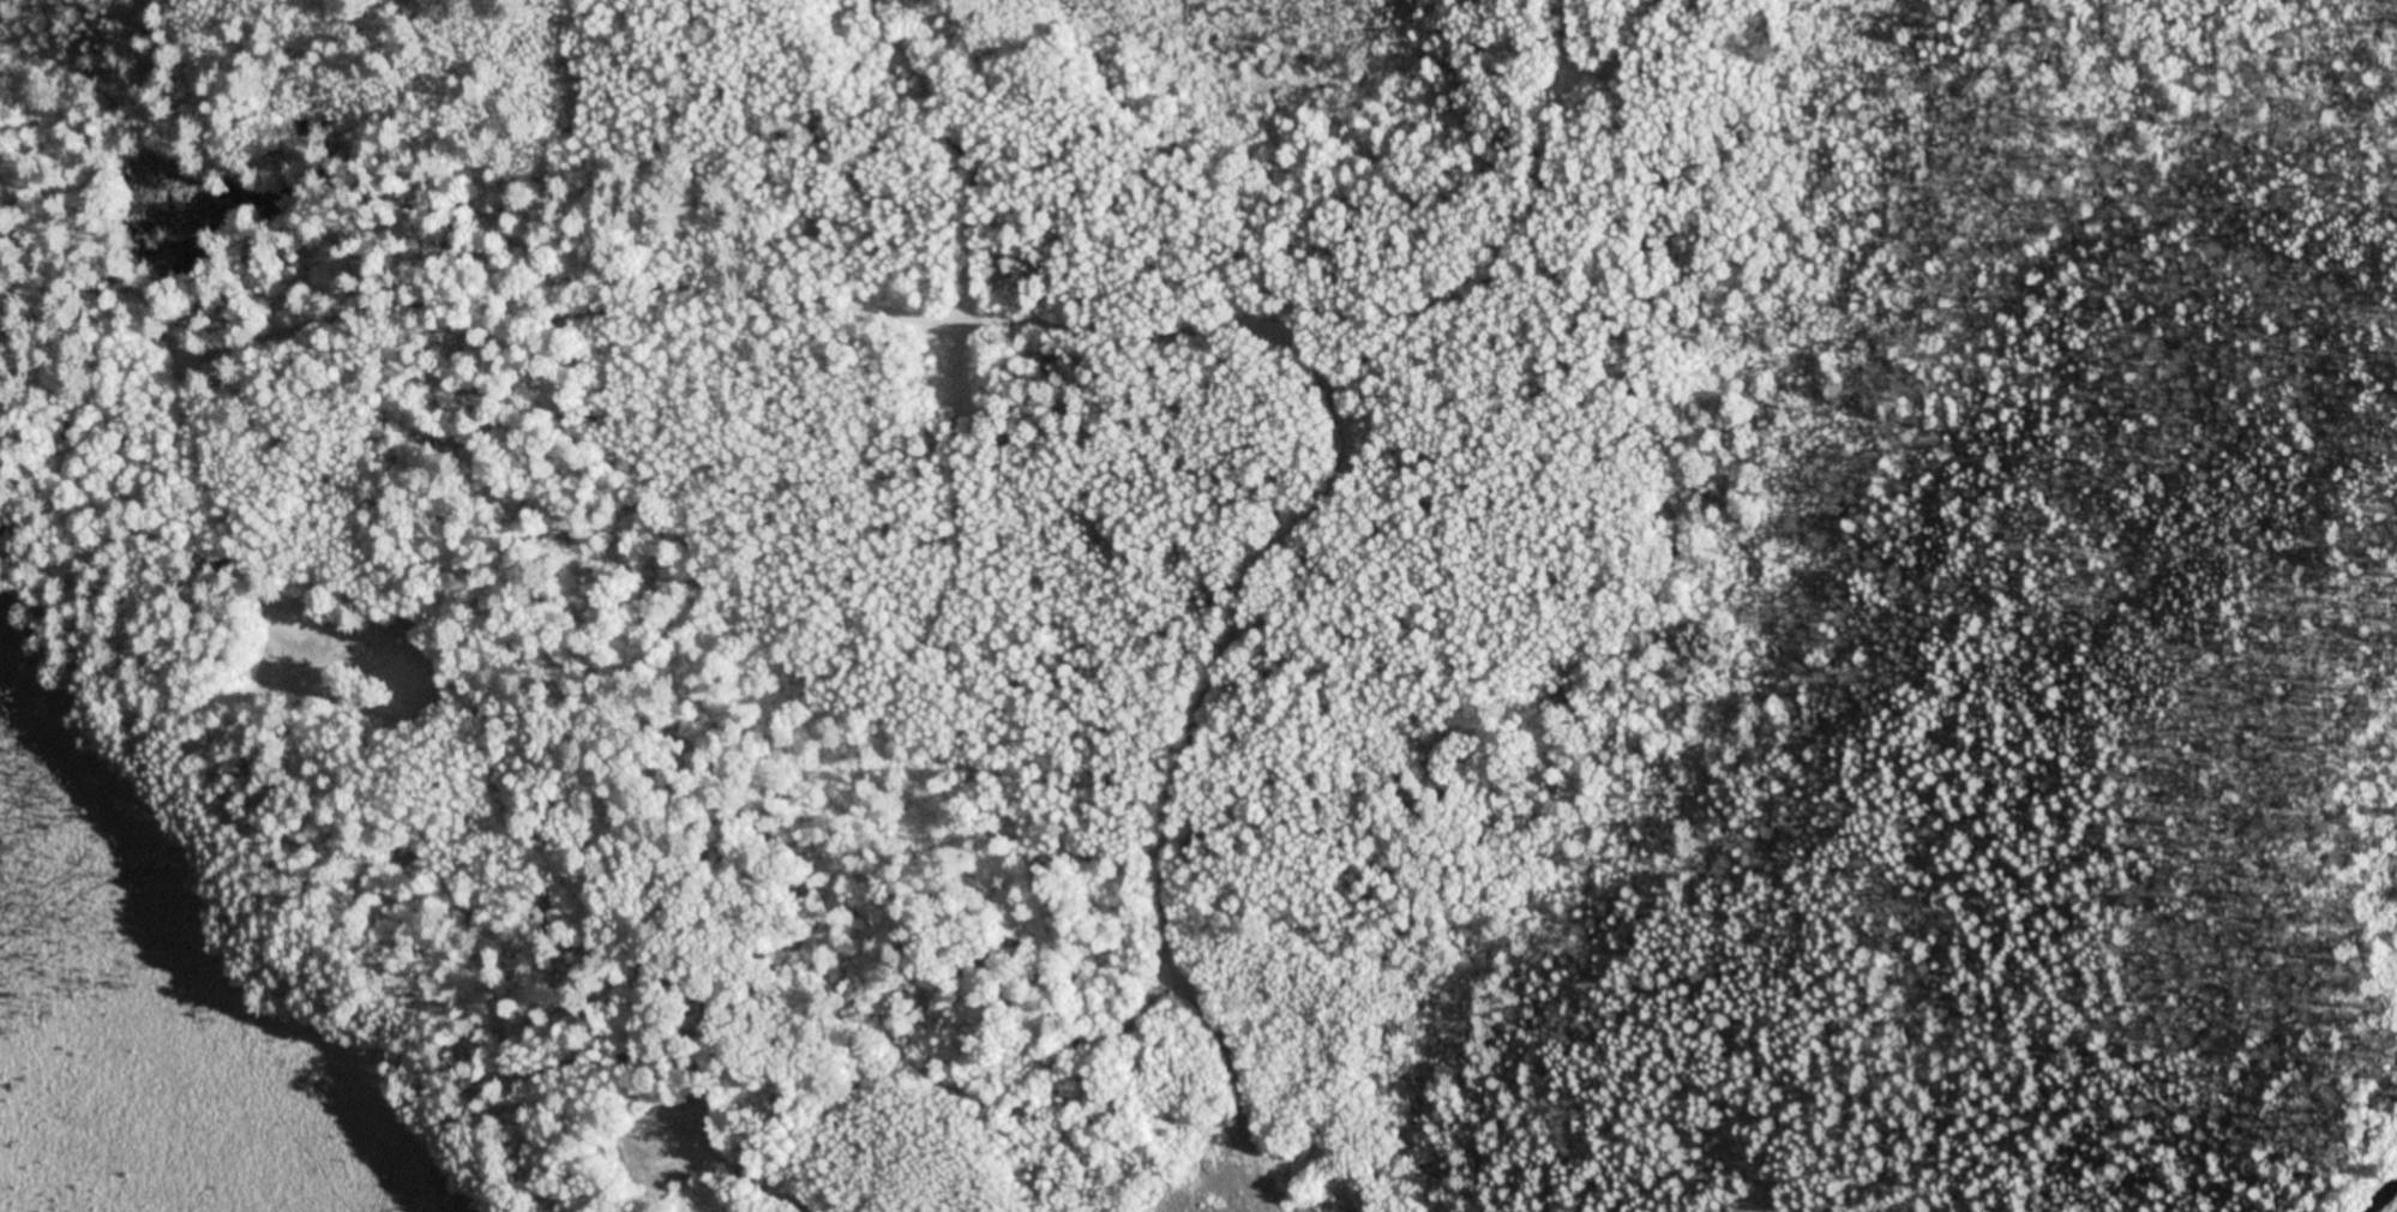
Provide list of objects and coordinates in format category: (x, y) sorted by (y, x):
crop: (2380, 1194)

